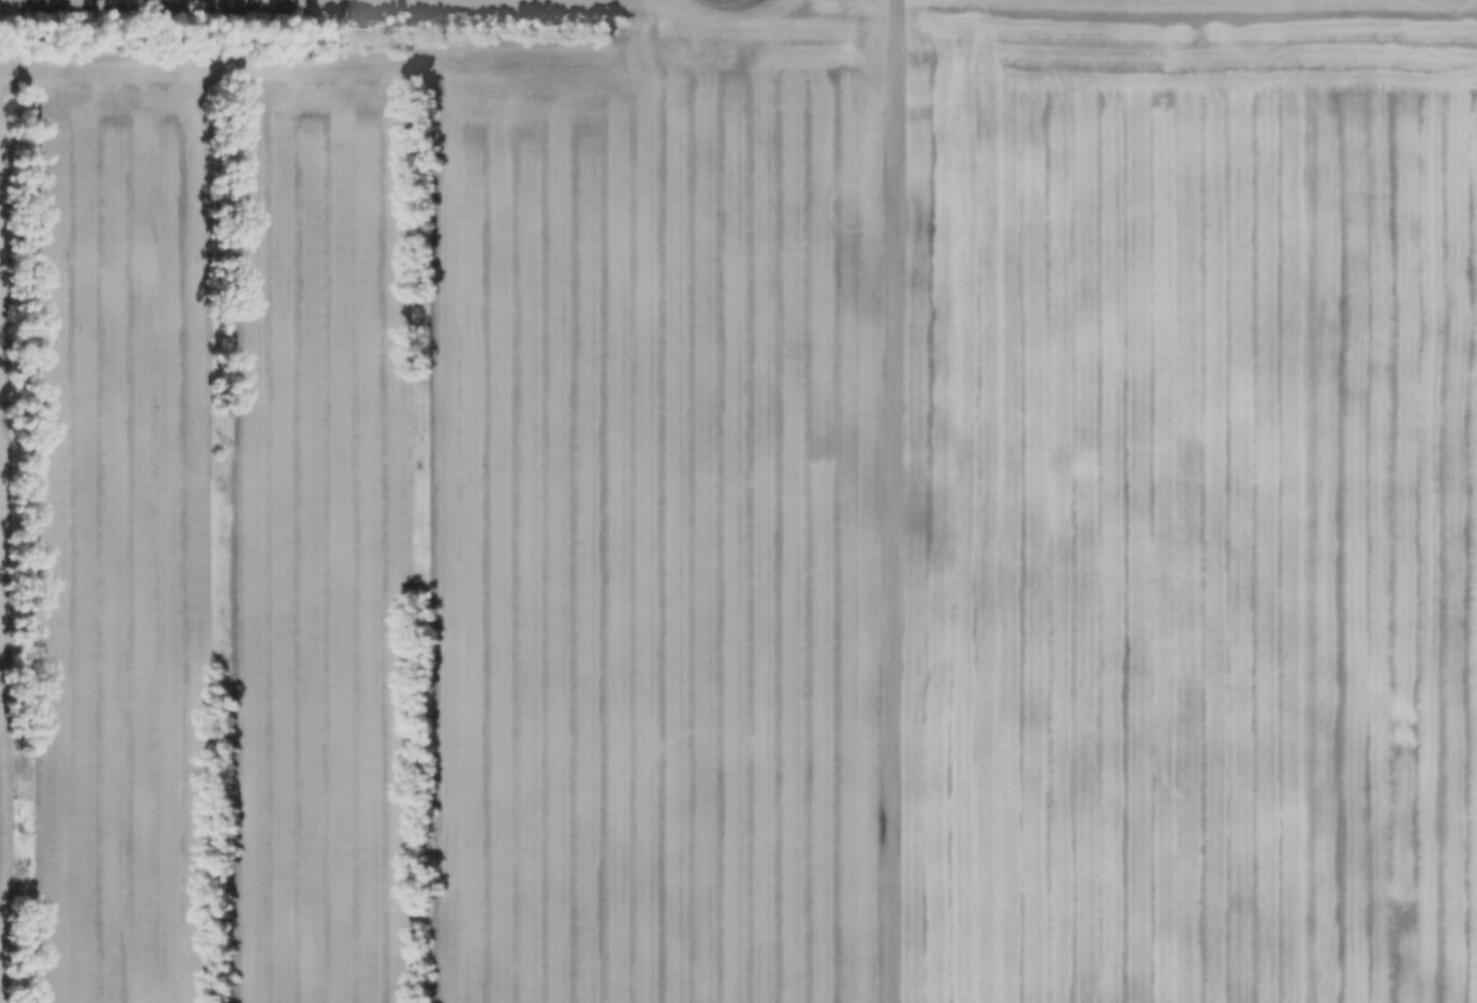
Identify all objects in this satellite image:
road: (893, 501)

